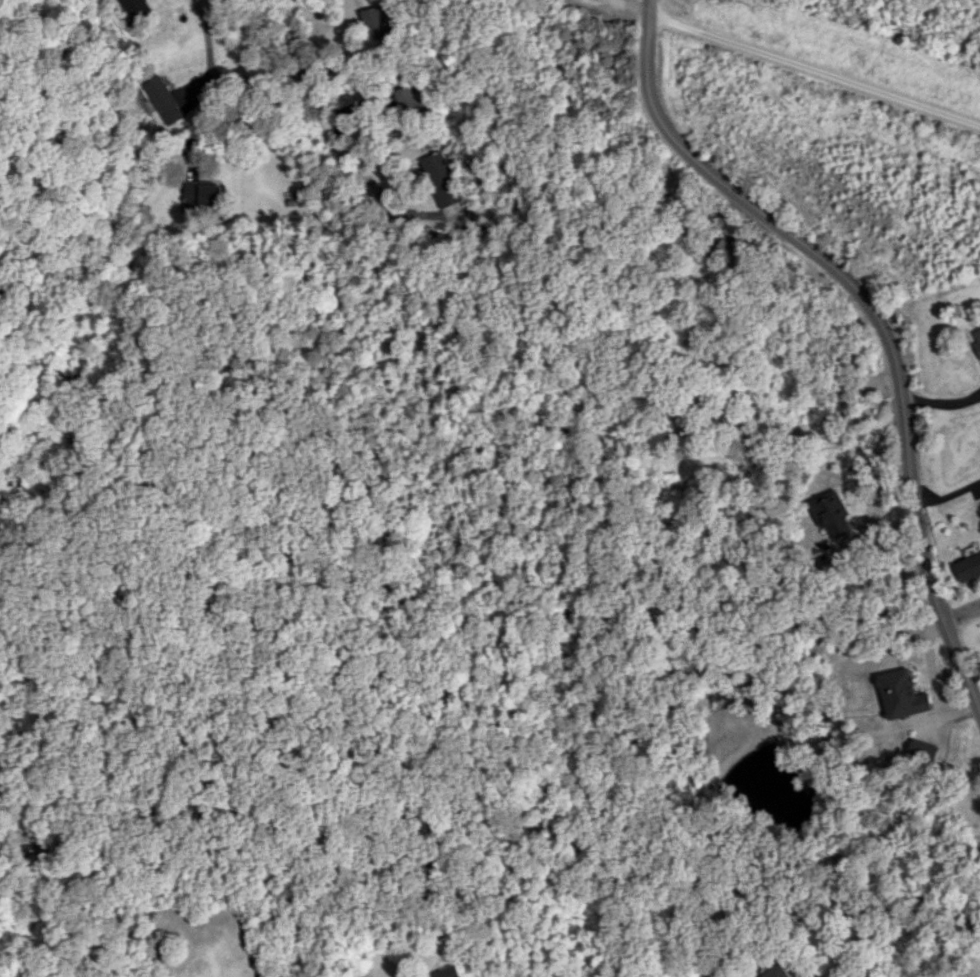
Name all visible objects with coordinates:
building: (137, 9)
building: (373, 22)
road: (206, 37)
road: (298, 63)
road: (845, 76)
road: (257, 80)
building: (404, 98)
building: (164, 99)
building: (439, 179)
road: (368, 181)
building: (192, 191)
building: (210, 194)
road: (927, 204)
building: (727, 251)
road: (879, 322)
building: (977, 342)
road: (941, 403)
building: (830, 515)
building: (968, 567)
road: (962, 618)
building: (900, 694)
building: (447, 971)
building: (775, 972)

